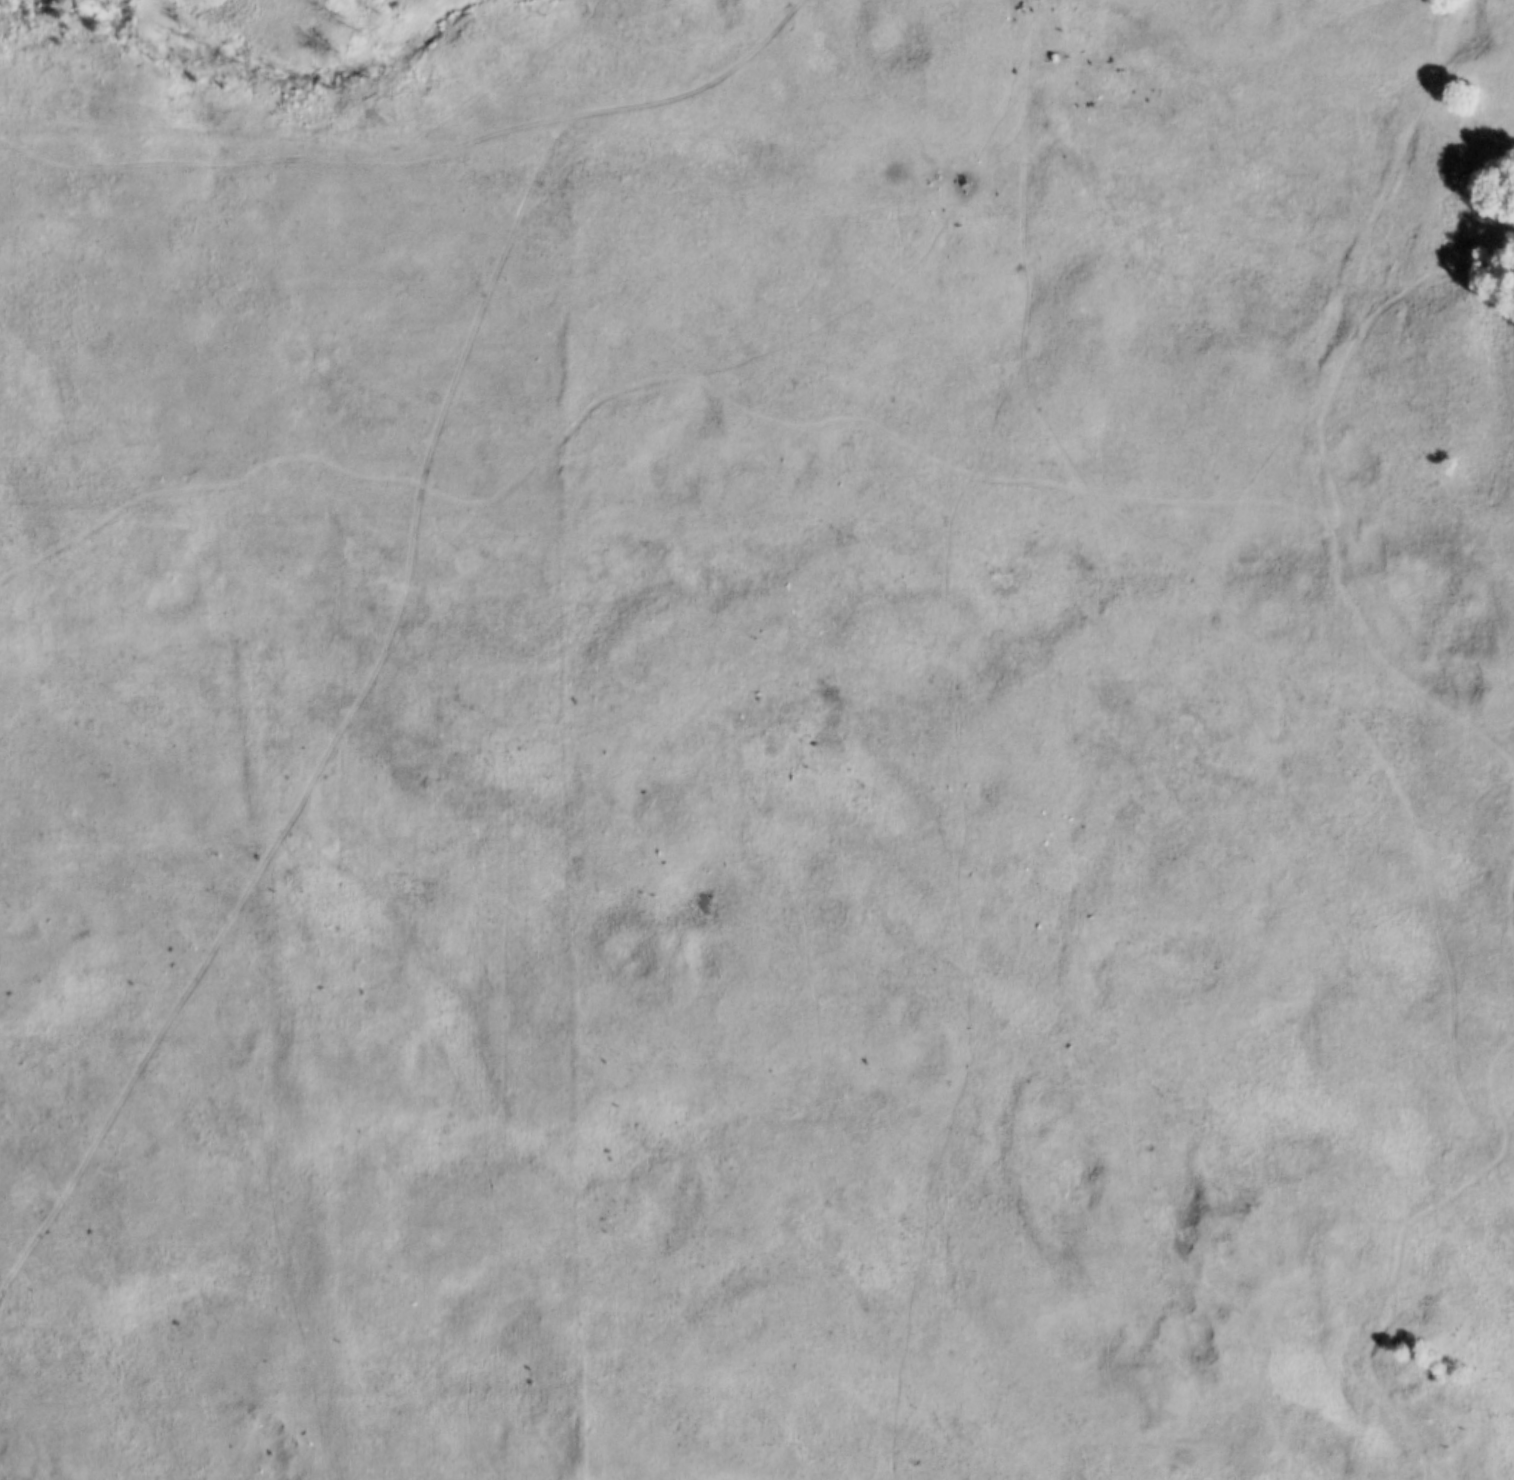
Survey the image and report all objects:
road: (1355, 343)
road: (647, 380)
road: (1390, 669)
road: (1508, 914)
road: (1398, 1239)

